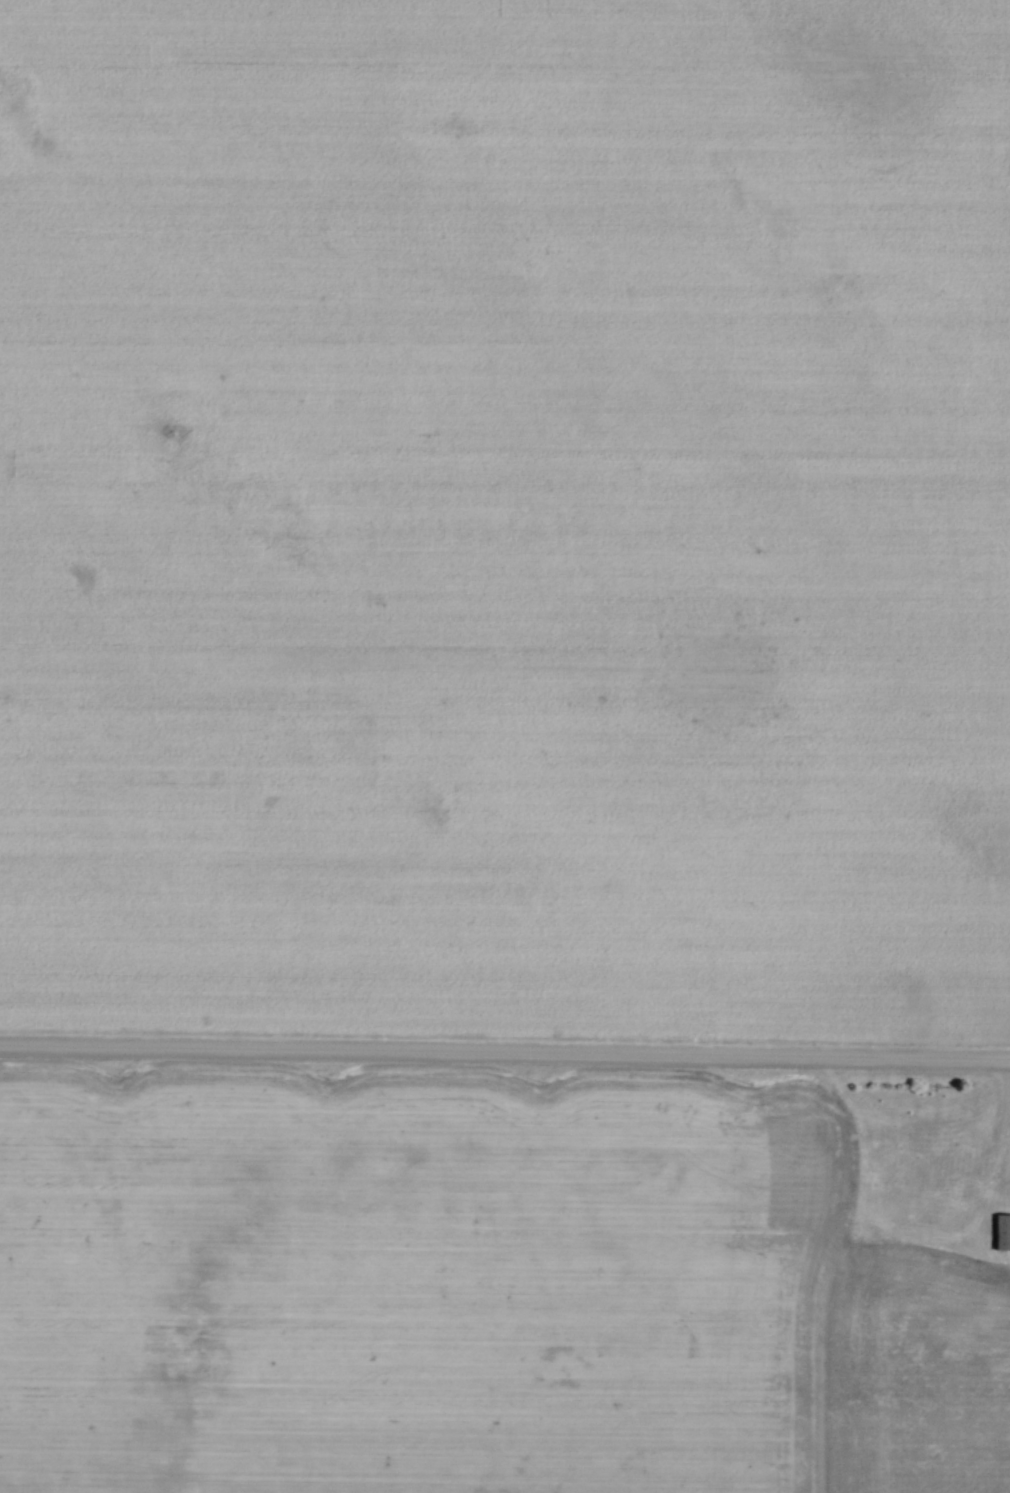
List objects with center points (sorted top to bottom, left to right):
crop: (506, 516)
road: (505, 1051)
road: (1000, 1153)
building: (1003, 1231)
crop: (502, 1285)

